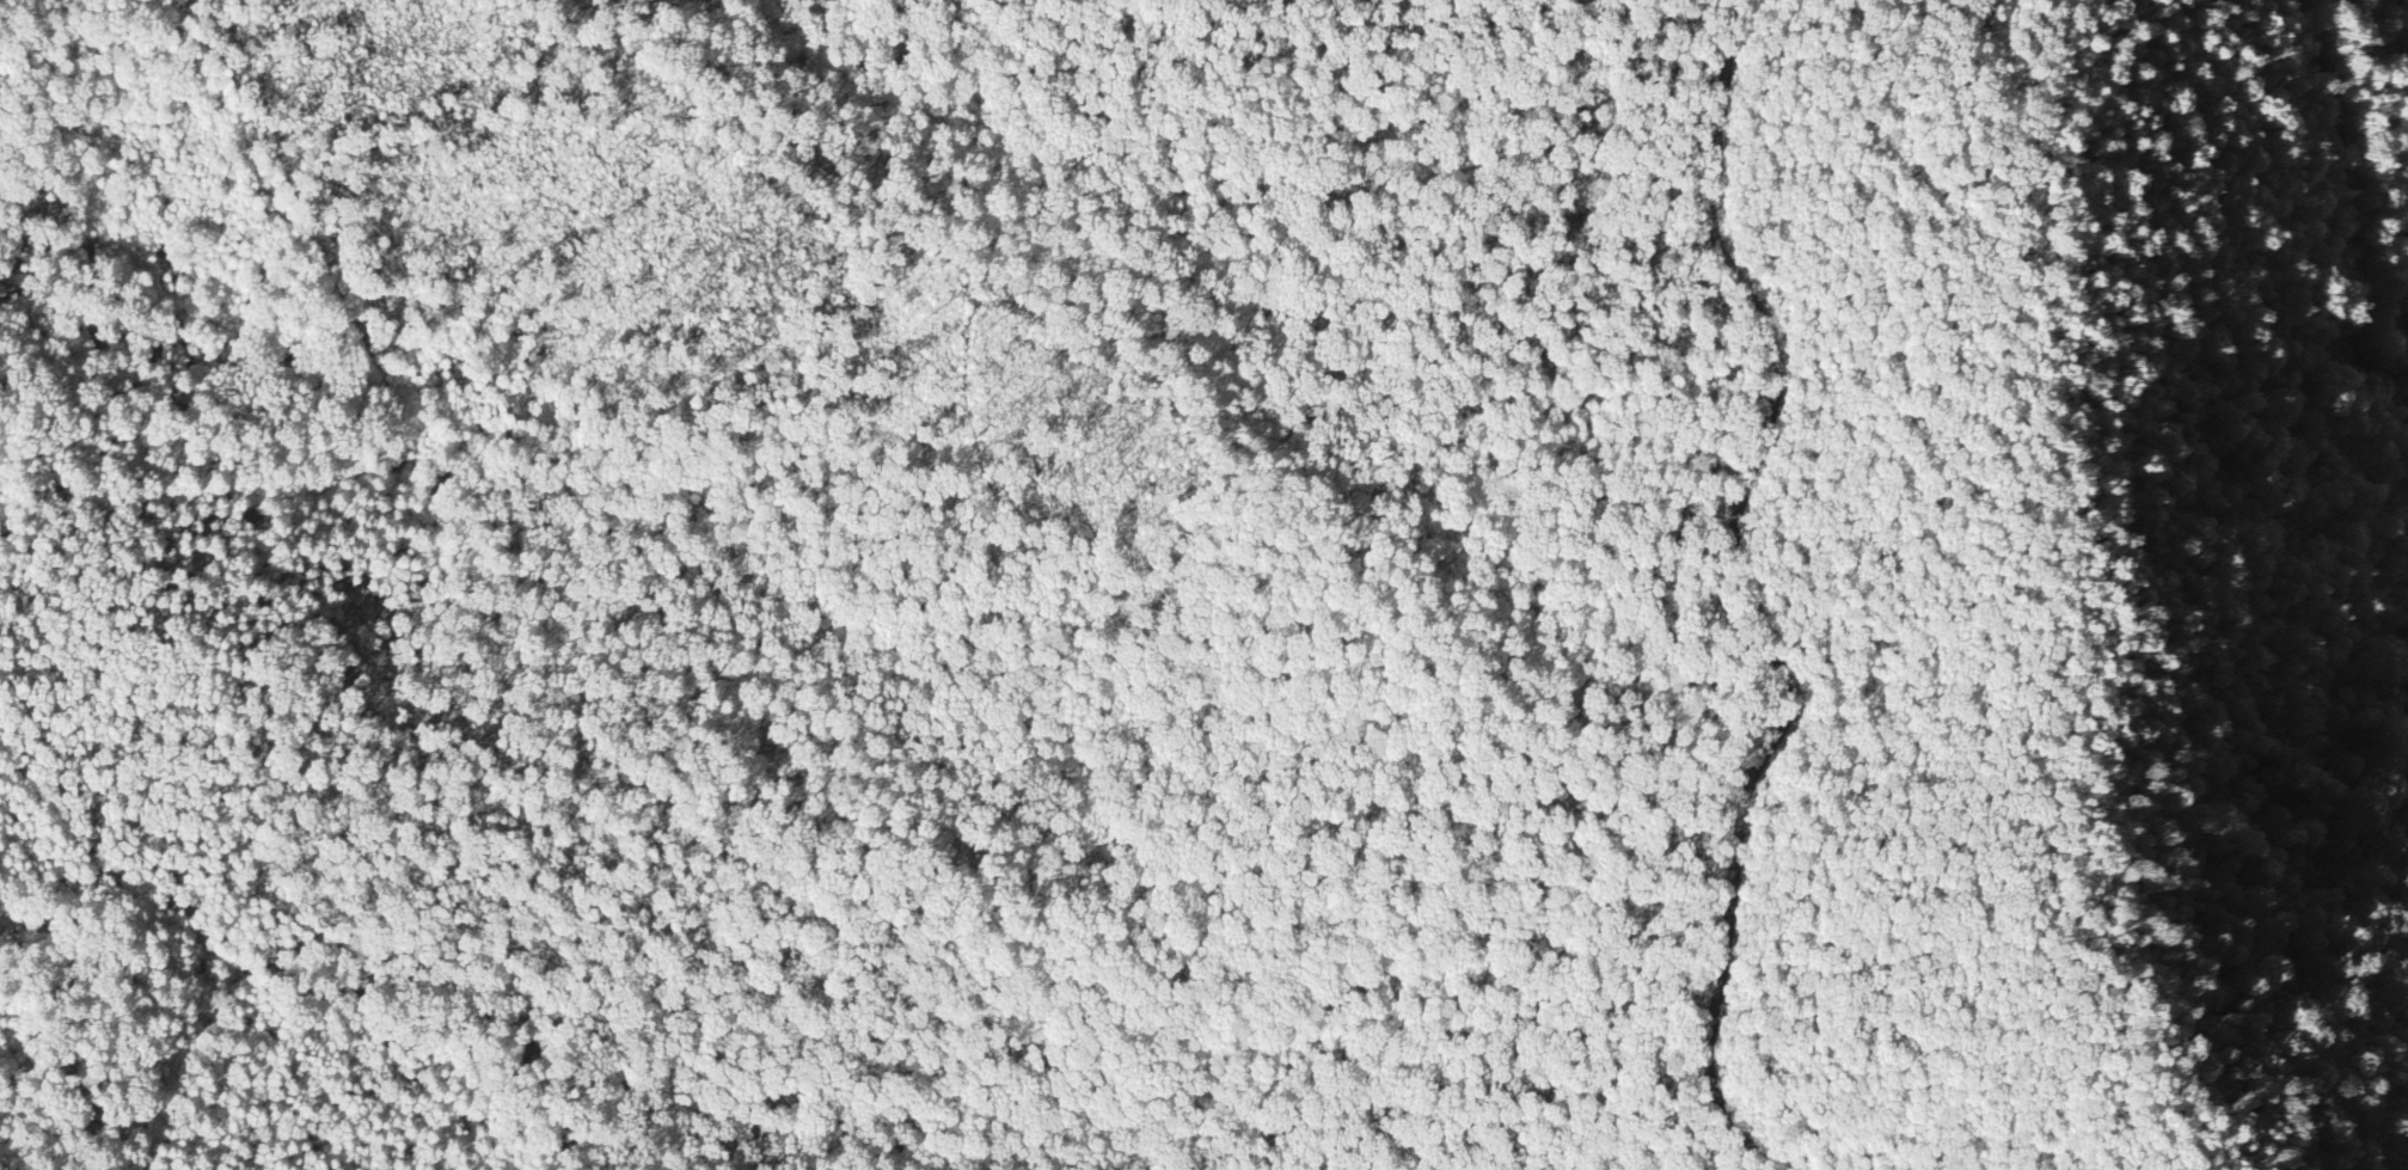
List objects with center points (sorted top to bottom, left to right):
road: (2346, 203)
road: (104, 507)
road: (1747, 592)

